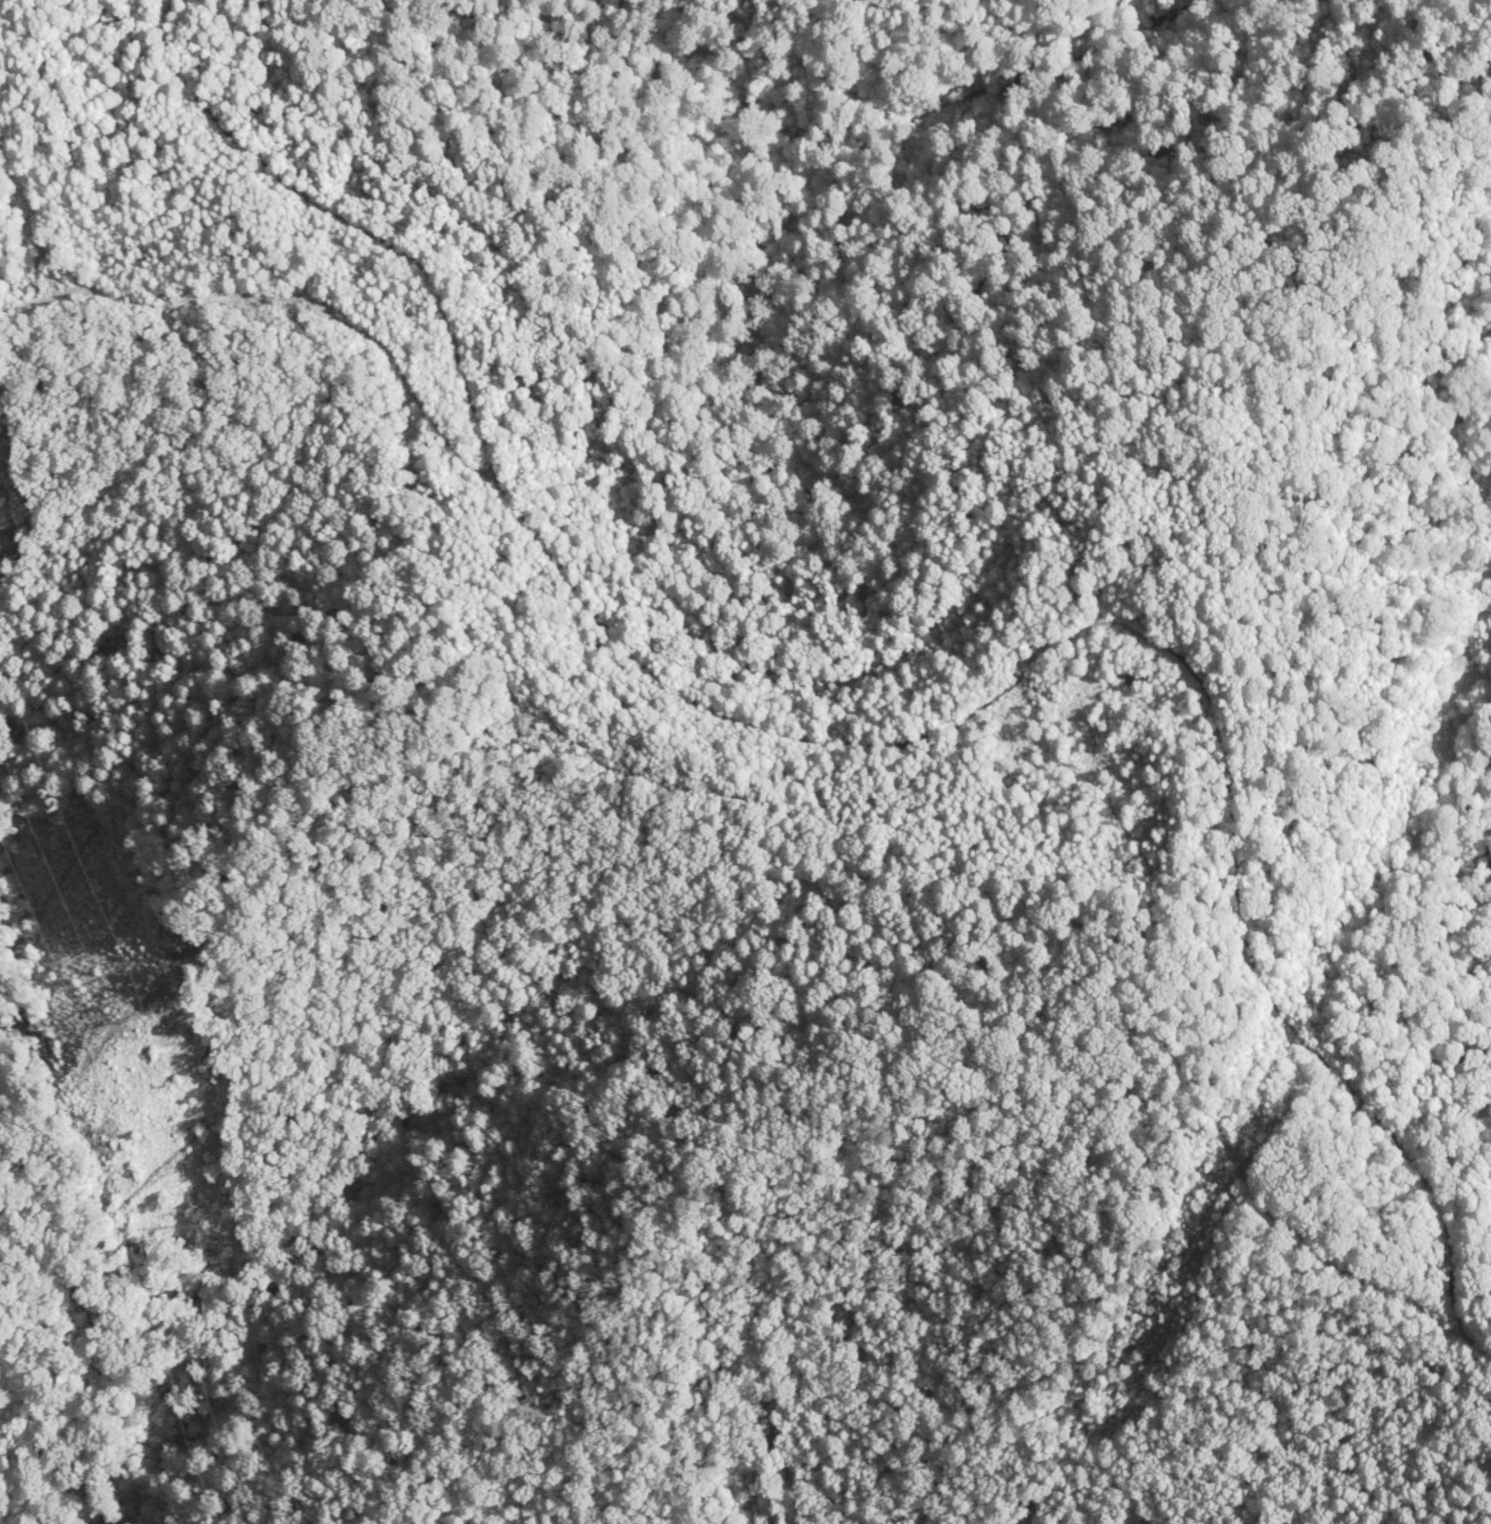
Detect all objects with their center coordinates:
power tower: (120, 1029)

